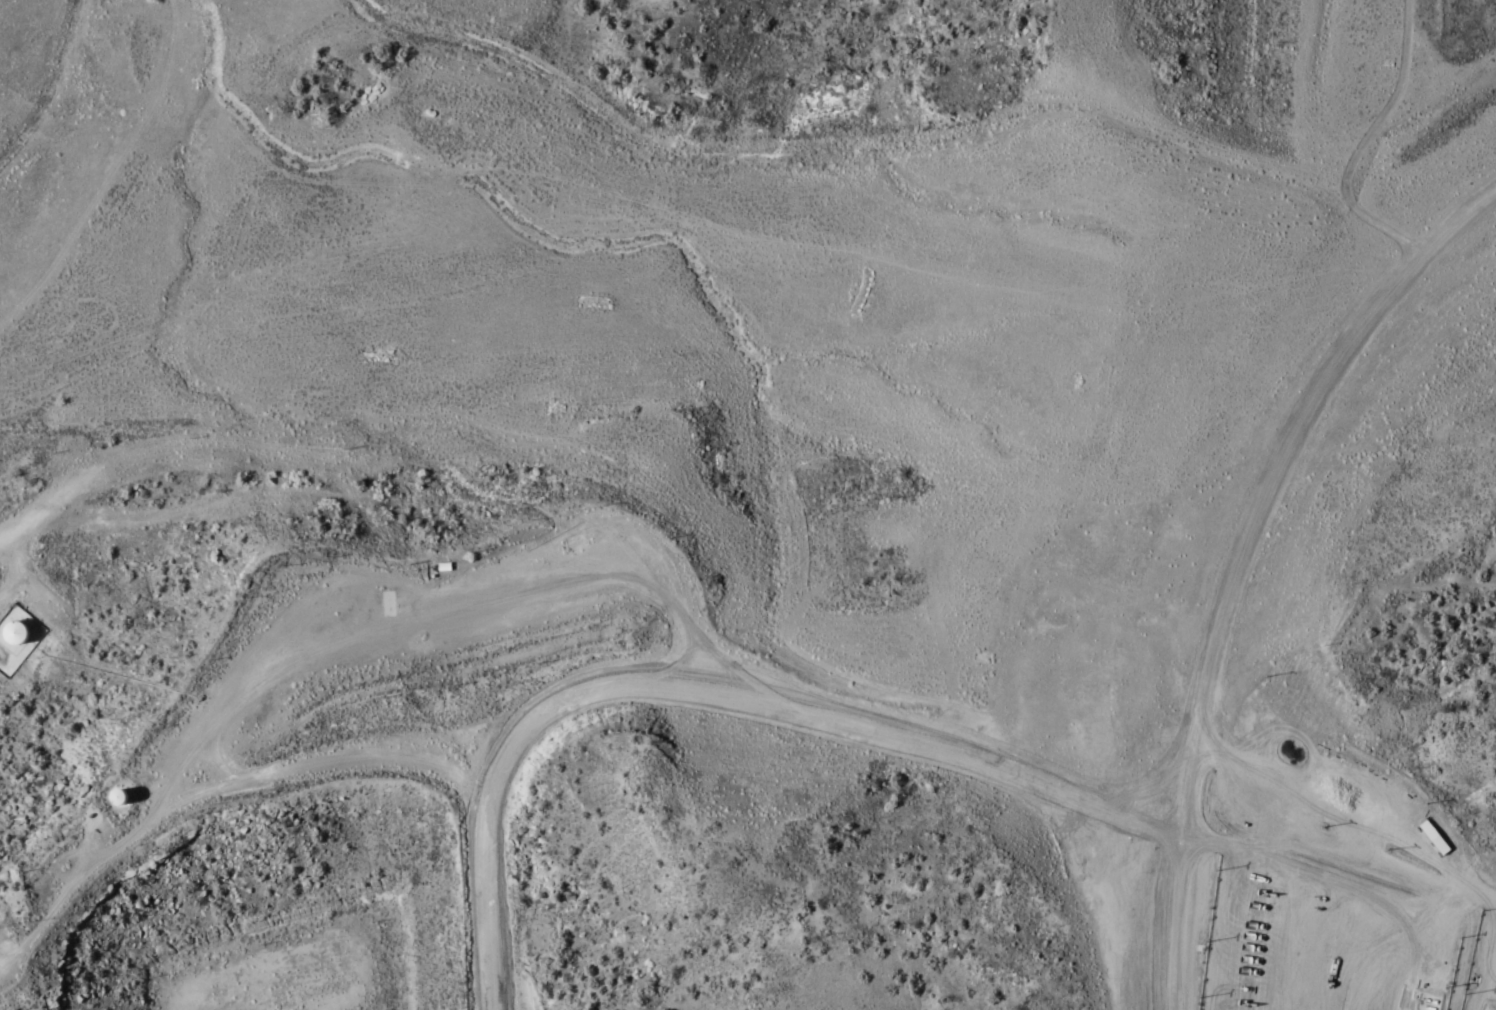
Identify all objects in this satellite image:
railway: (6, 9)
railway: (3, 14)
road: (1234, 496)
building: (13, 641)
road: (756, 699)
building: (1436, 836)

